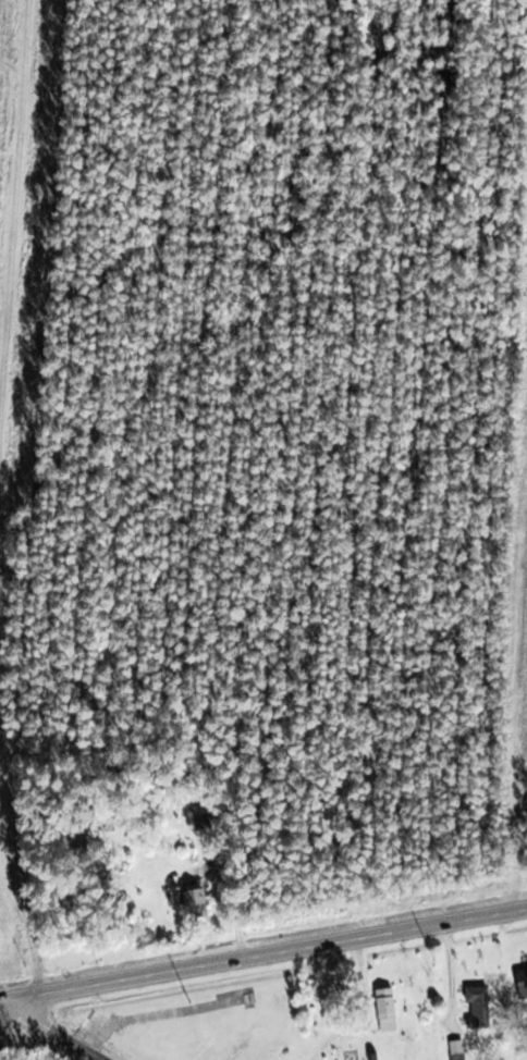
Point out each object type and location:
building: (200, 824)
building: (193, 905)
road: (267, 954)
building: (519, 984)
road: (3, 1000)
building: (477, 1008)
building: (384, 1011)
road: (56, 1030)
building: (456, 1050)

